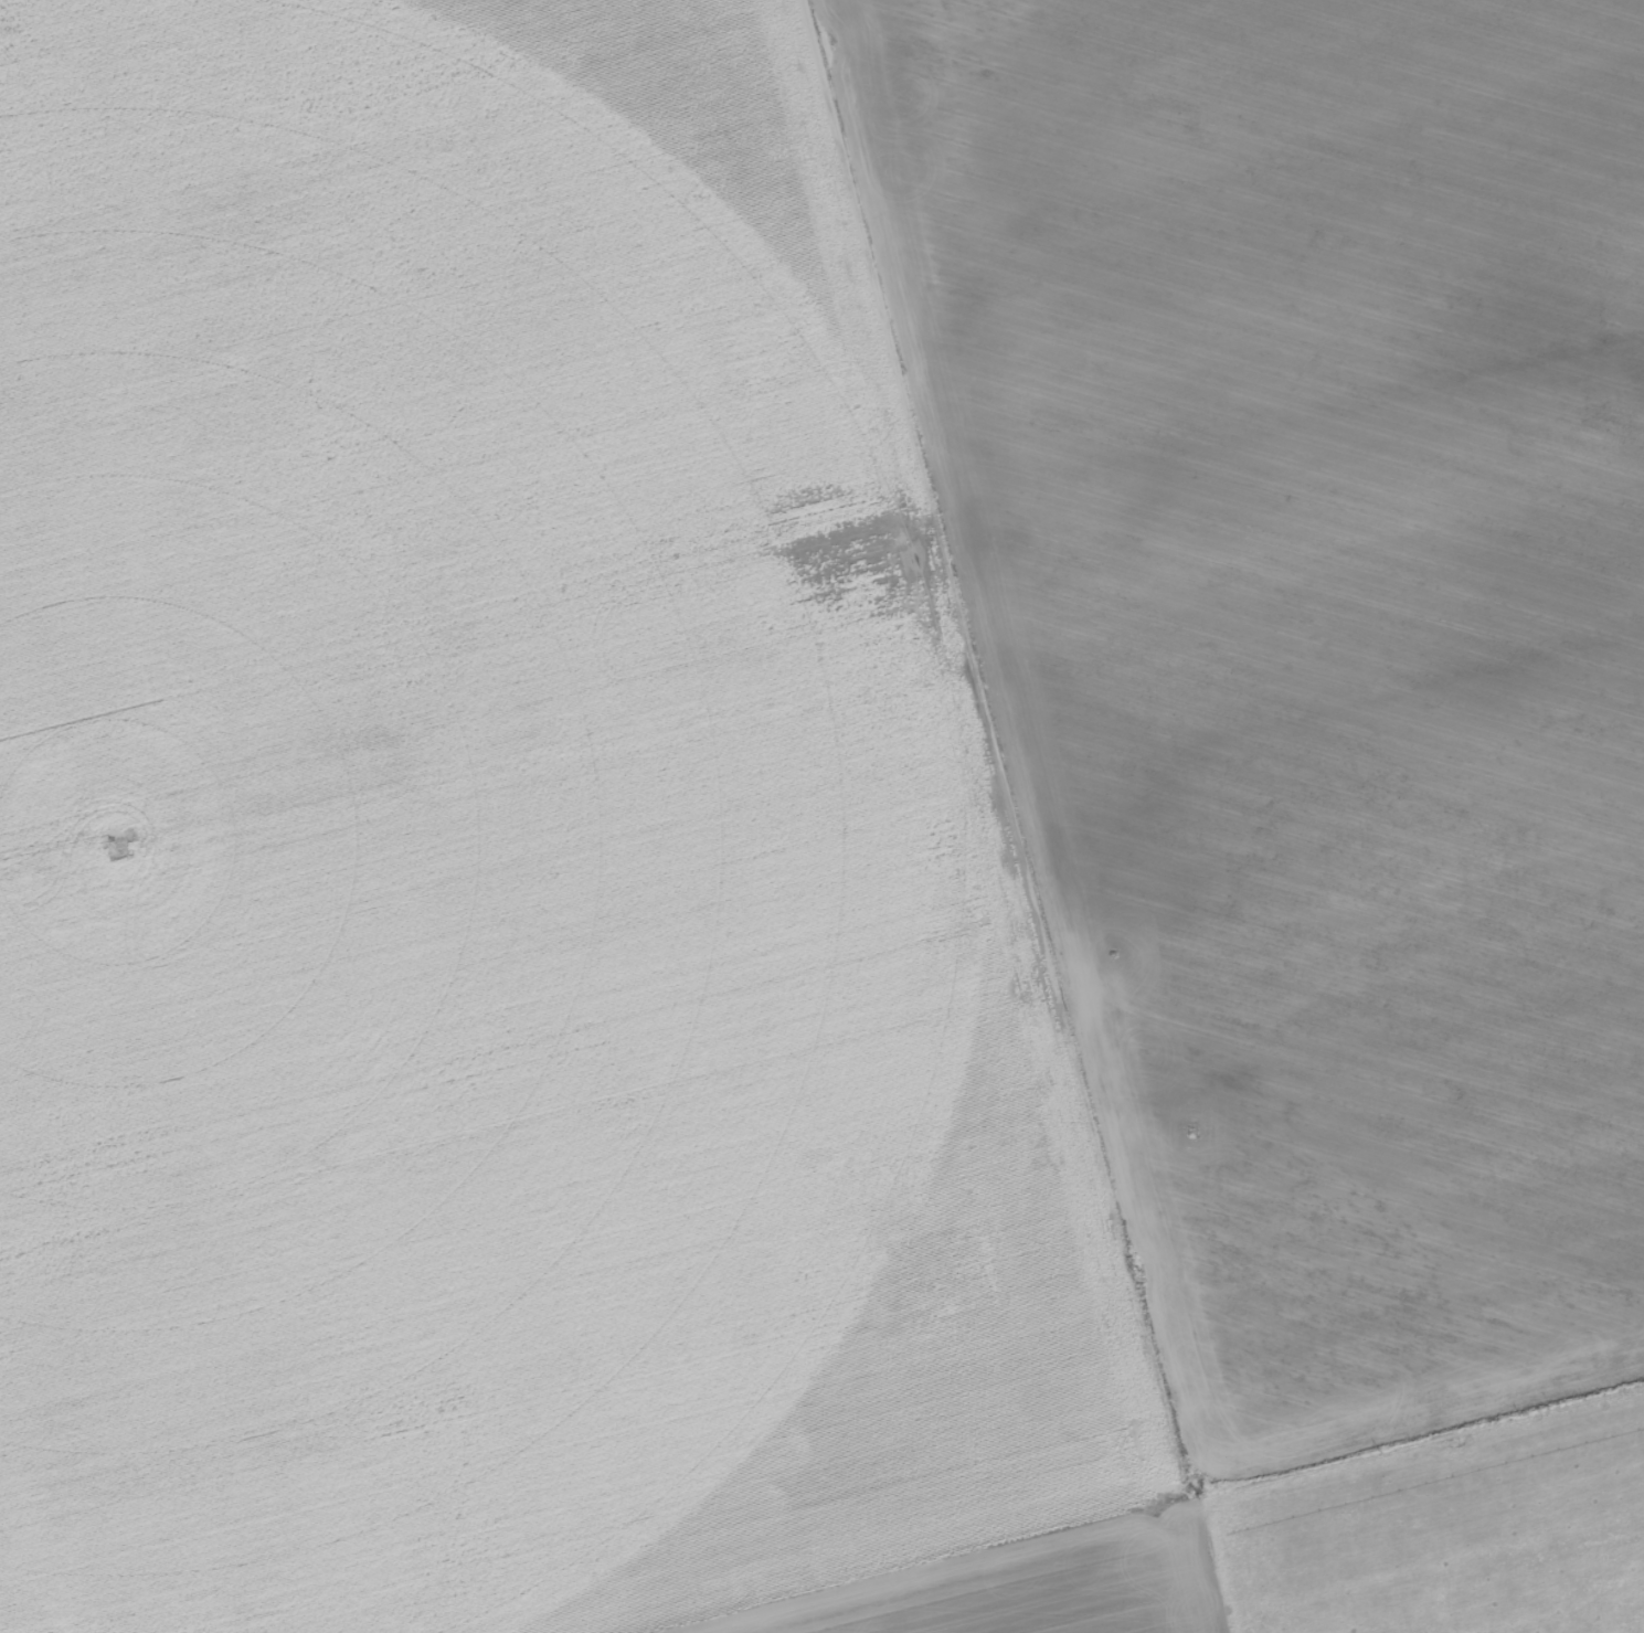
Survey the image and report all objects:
road: (1382, 877)
road: (1150, 1187)

